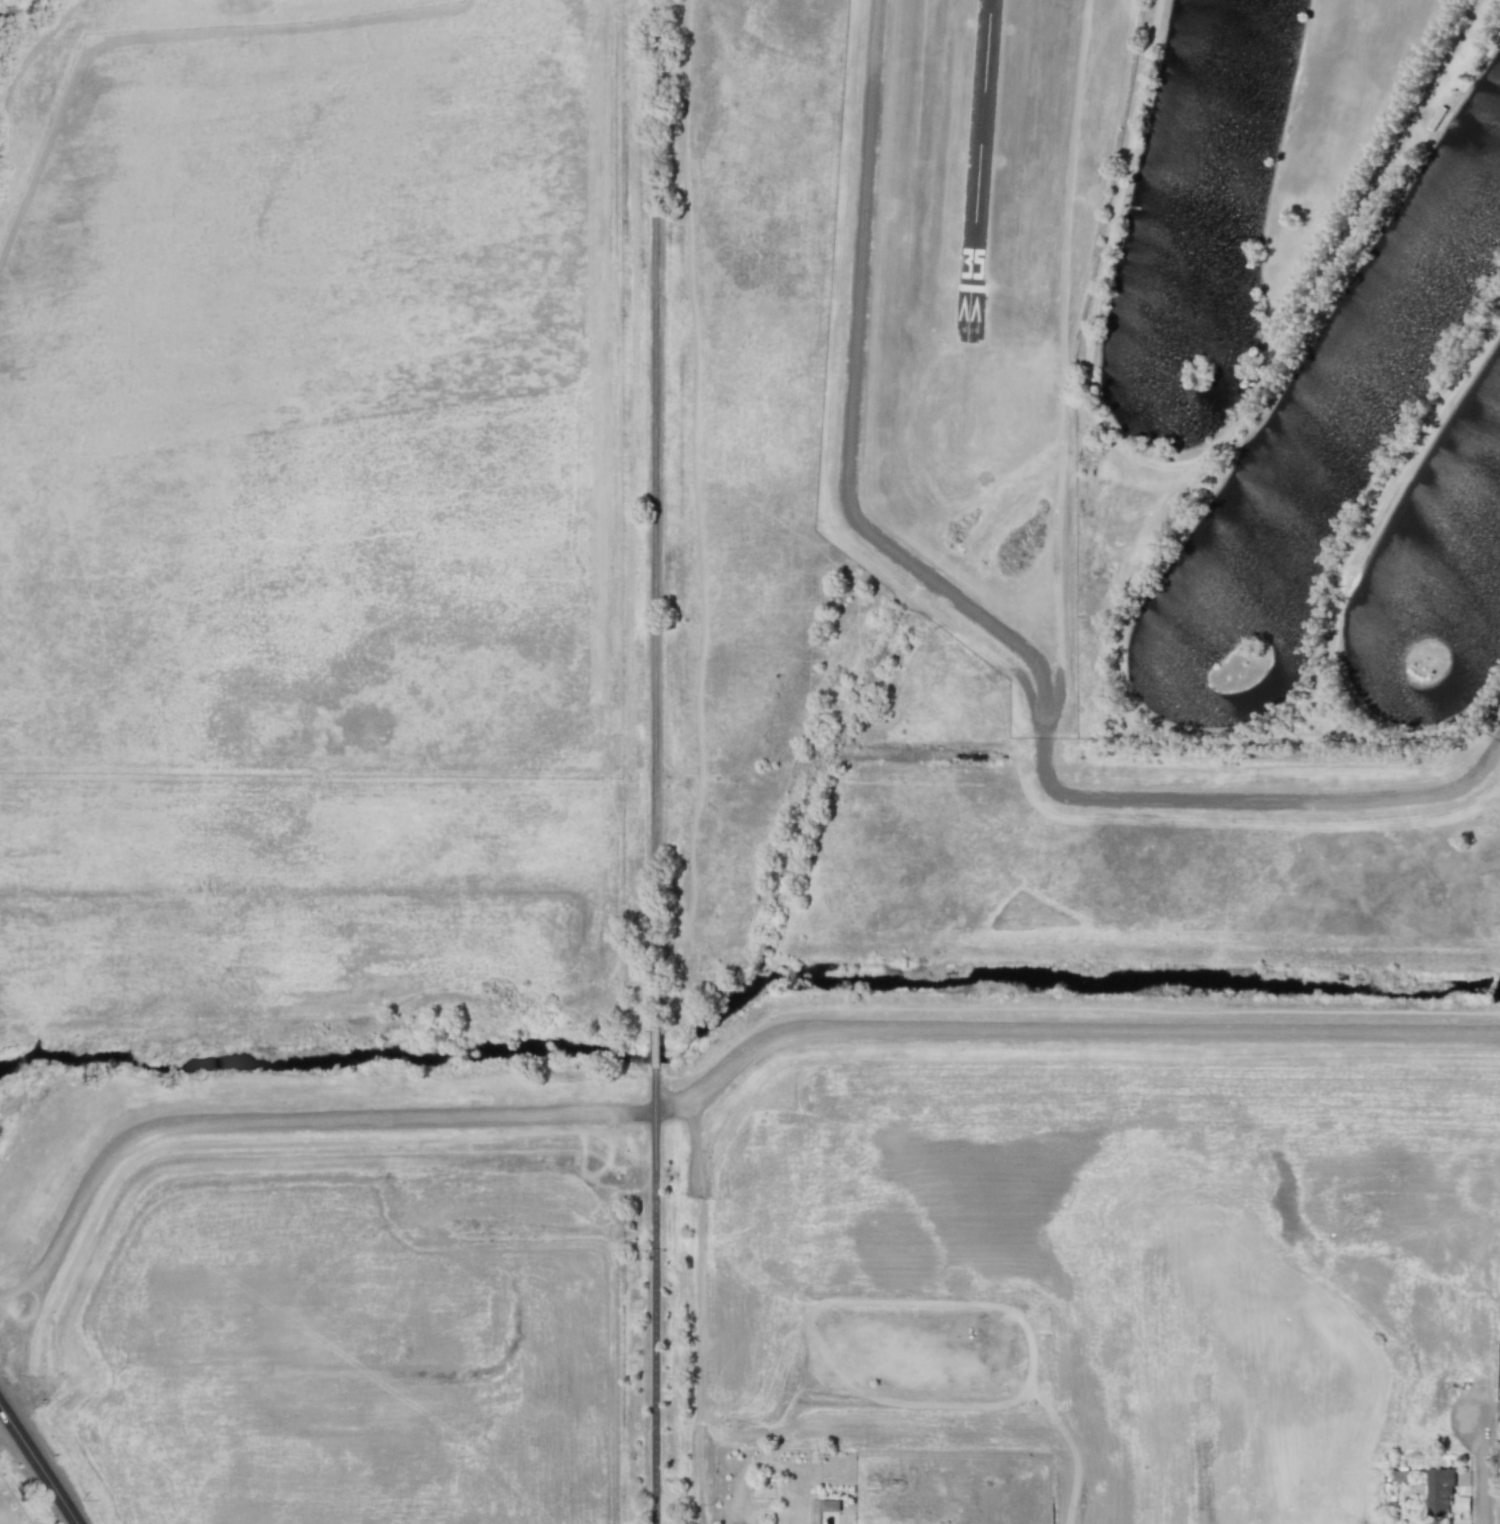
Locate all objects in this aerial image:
airport runway: (979, 167)
road: (655, 512)
crop: (390, 552)
road: (980, 612)
road: (658, 1045)
road: (710, 1085)
road: (689, 1153)
road: (660, 1294)
road: (695, 1362)
road: (40, 1461)
road: (1486, 1471)
building: (1438, 1491)
building: (829, 1505)

